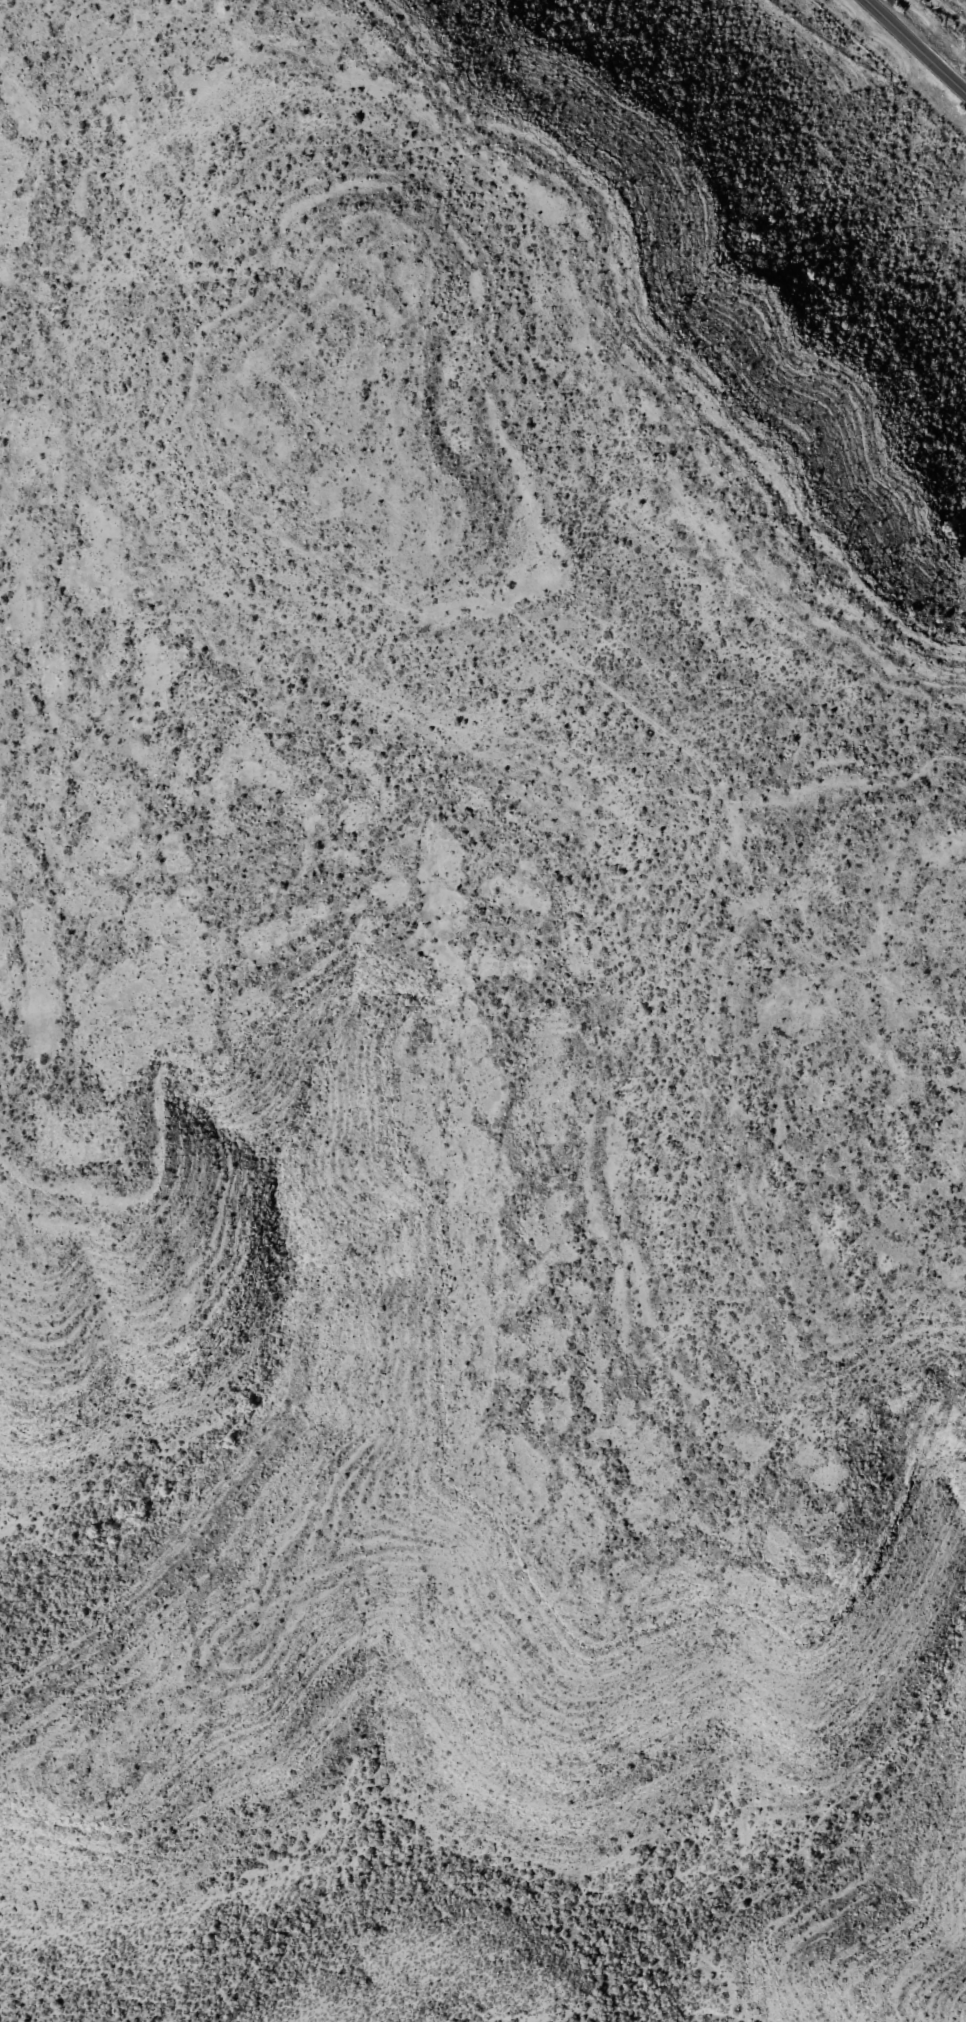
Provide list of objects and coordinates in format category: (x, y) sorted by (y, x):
road: (918, 44)

